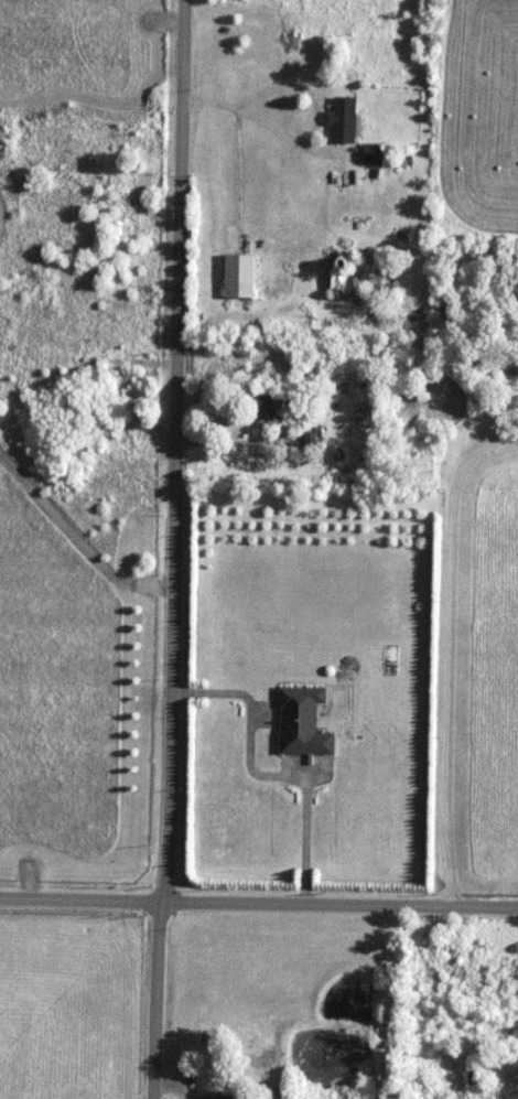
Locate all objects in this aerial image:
road: (259, 120)
building: (344, 120)
building: (374, 154)
building: (239, 276)
building: (347, 283)
building: (270, 408)
road: (166, 549)
road: (443, 647)
building: (303, 722)
road: (260, 771)
road: (259, 902)
building: (218, 1097)

